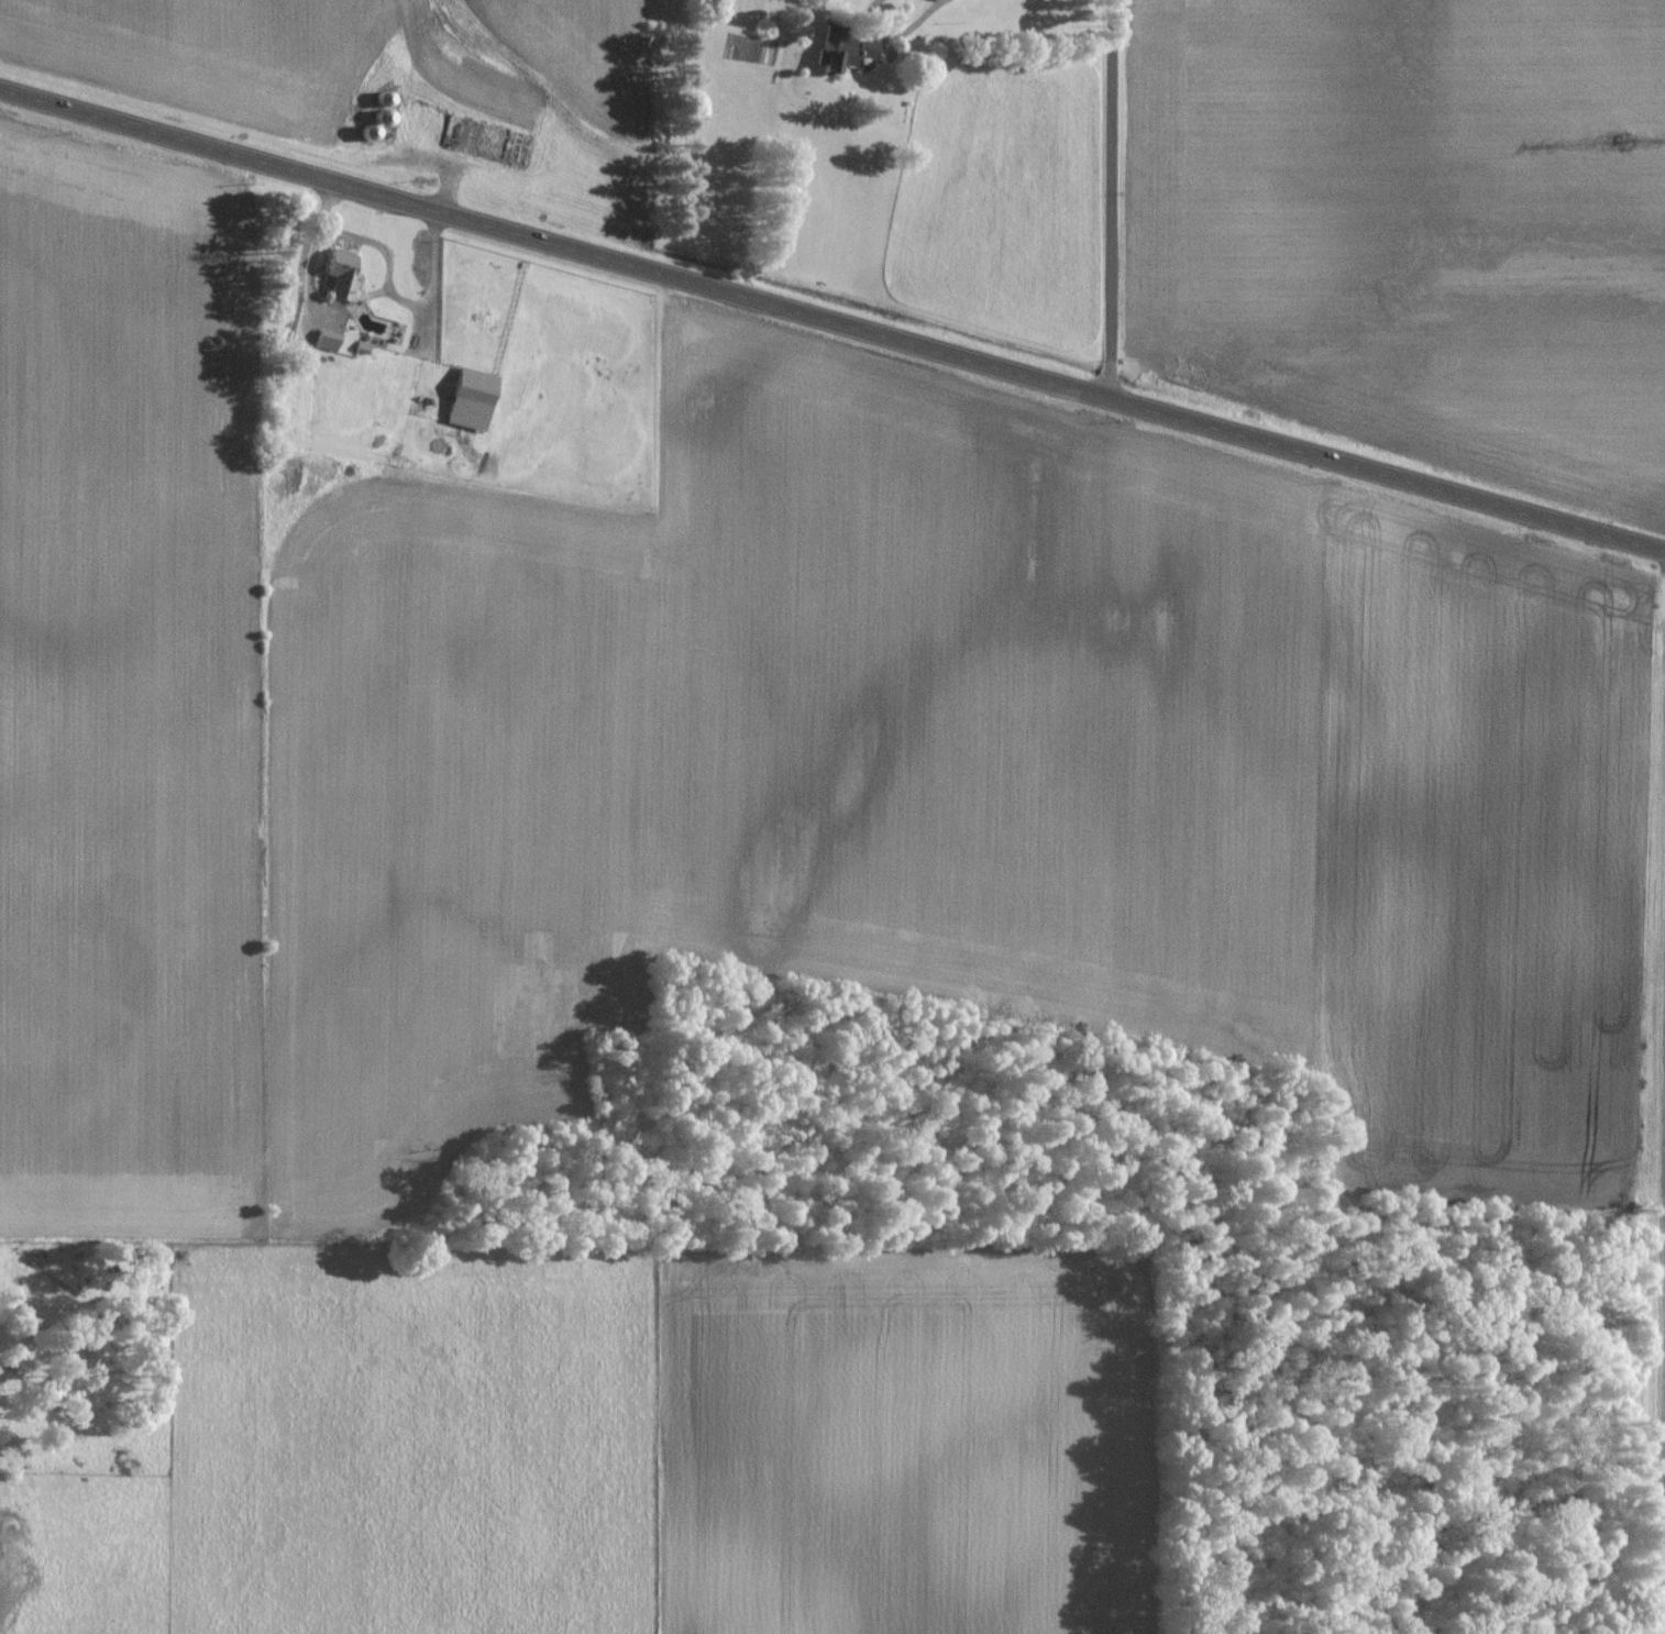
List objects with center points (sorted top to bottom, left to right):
road: (893, 35)
power tower: (1630, 146)
road: (1113, 199)
building: (340, 273)
road: (833, 321)
building: (327, 340)
building: (472, 399)

